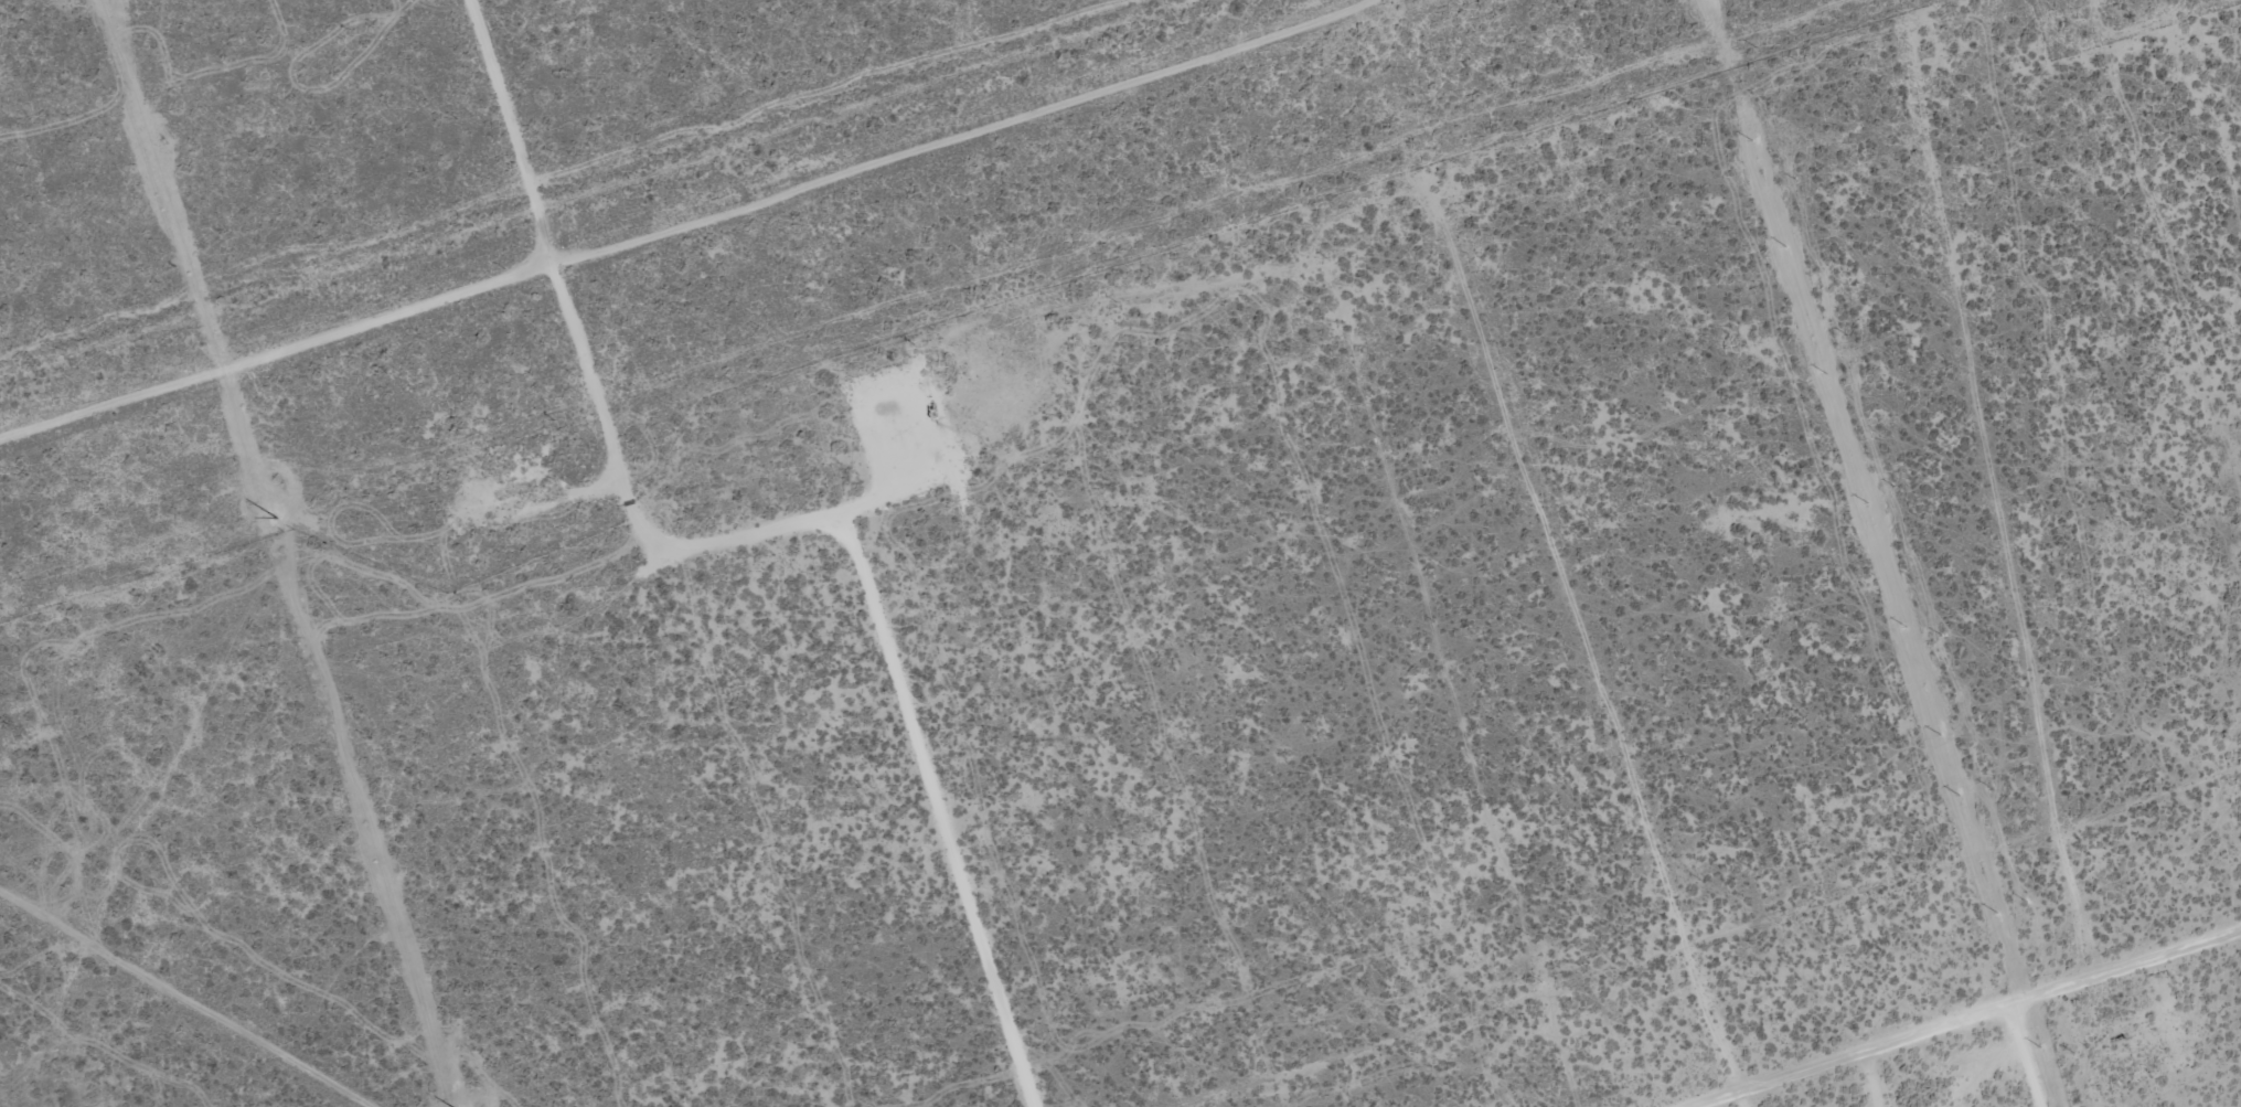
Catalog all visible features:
road: (521, 128)
road: (709, 217)
road: (1512, 577)
road: (1957, 1030)
road: (1853, 1087)

